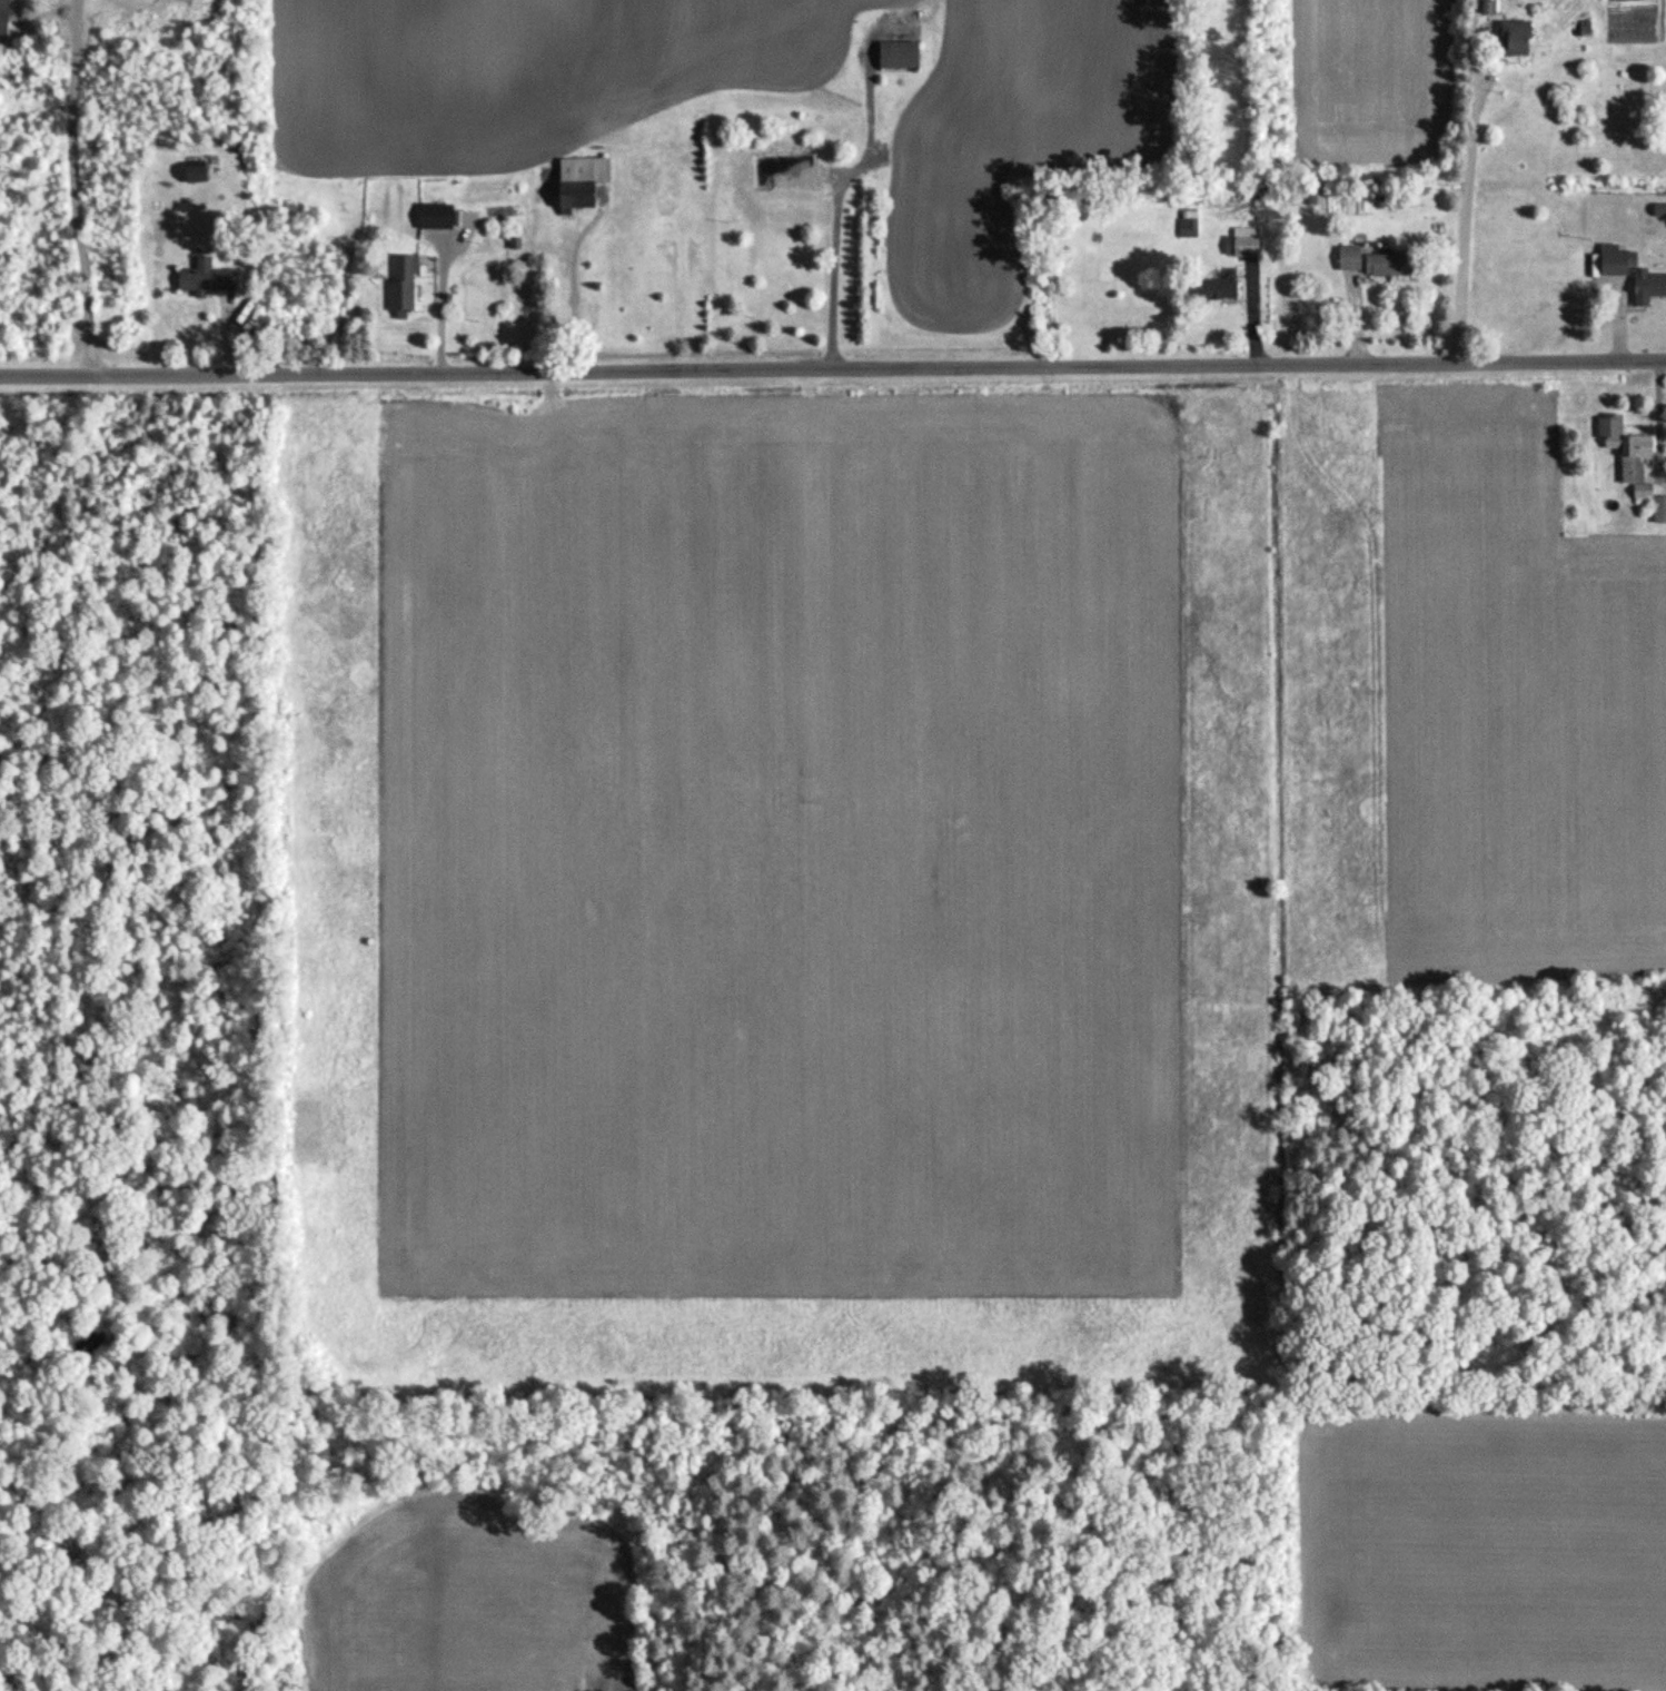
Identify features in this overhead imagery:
building: (2, 16)
building: (1511, 38)
building: (896, 55)
building: (779, 169)
building: (581, 182)
road: (63, 186)
building: (434, 216)
road: (1459, 220)
building: (1187, 224)
building: (1243, 243)
building: (1346, 258)
building: (1386, 264)
road: (827, 268)
building: (1629, 274)
building: (204, 277)
building: (399, 283)
building: (1214, 287)
road: (419, 296)
road: (833, 366)
building: (1623, 446)
building: (1658, 508)

